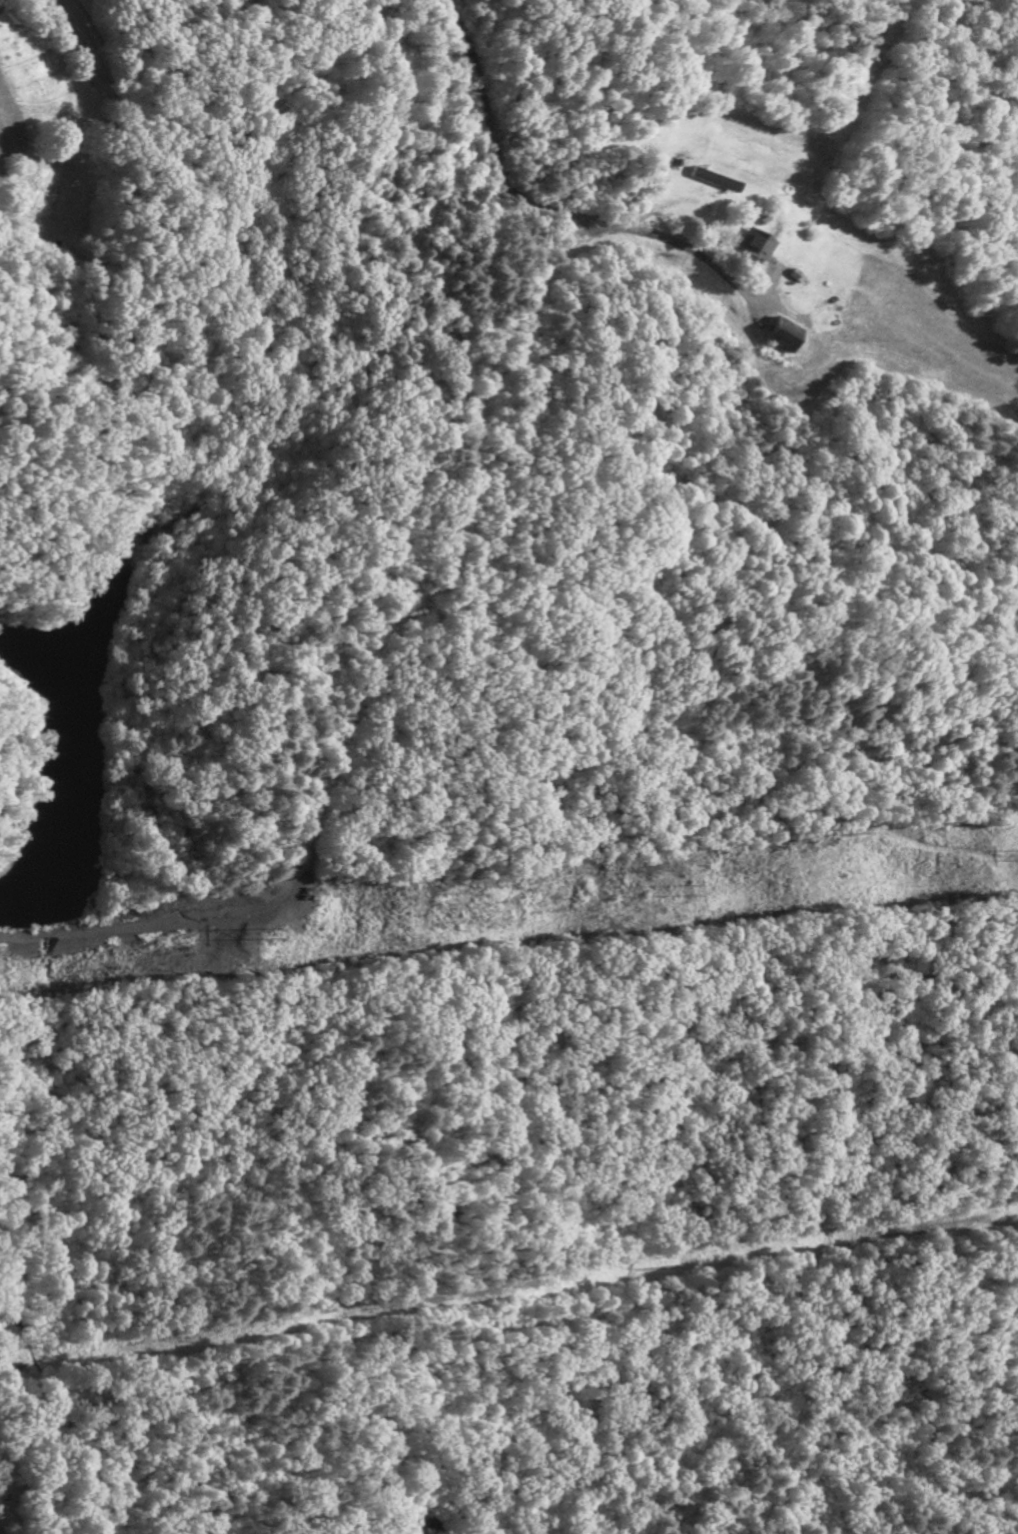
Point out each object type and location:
building: (716, 183)
road: (530, 197)
building: (757, 248)
building: (781, 338)
road: (422, 648)
power tower: (686, 888)
power tower: (261, 933)

